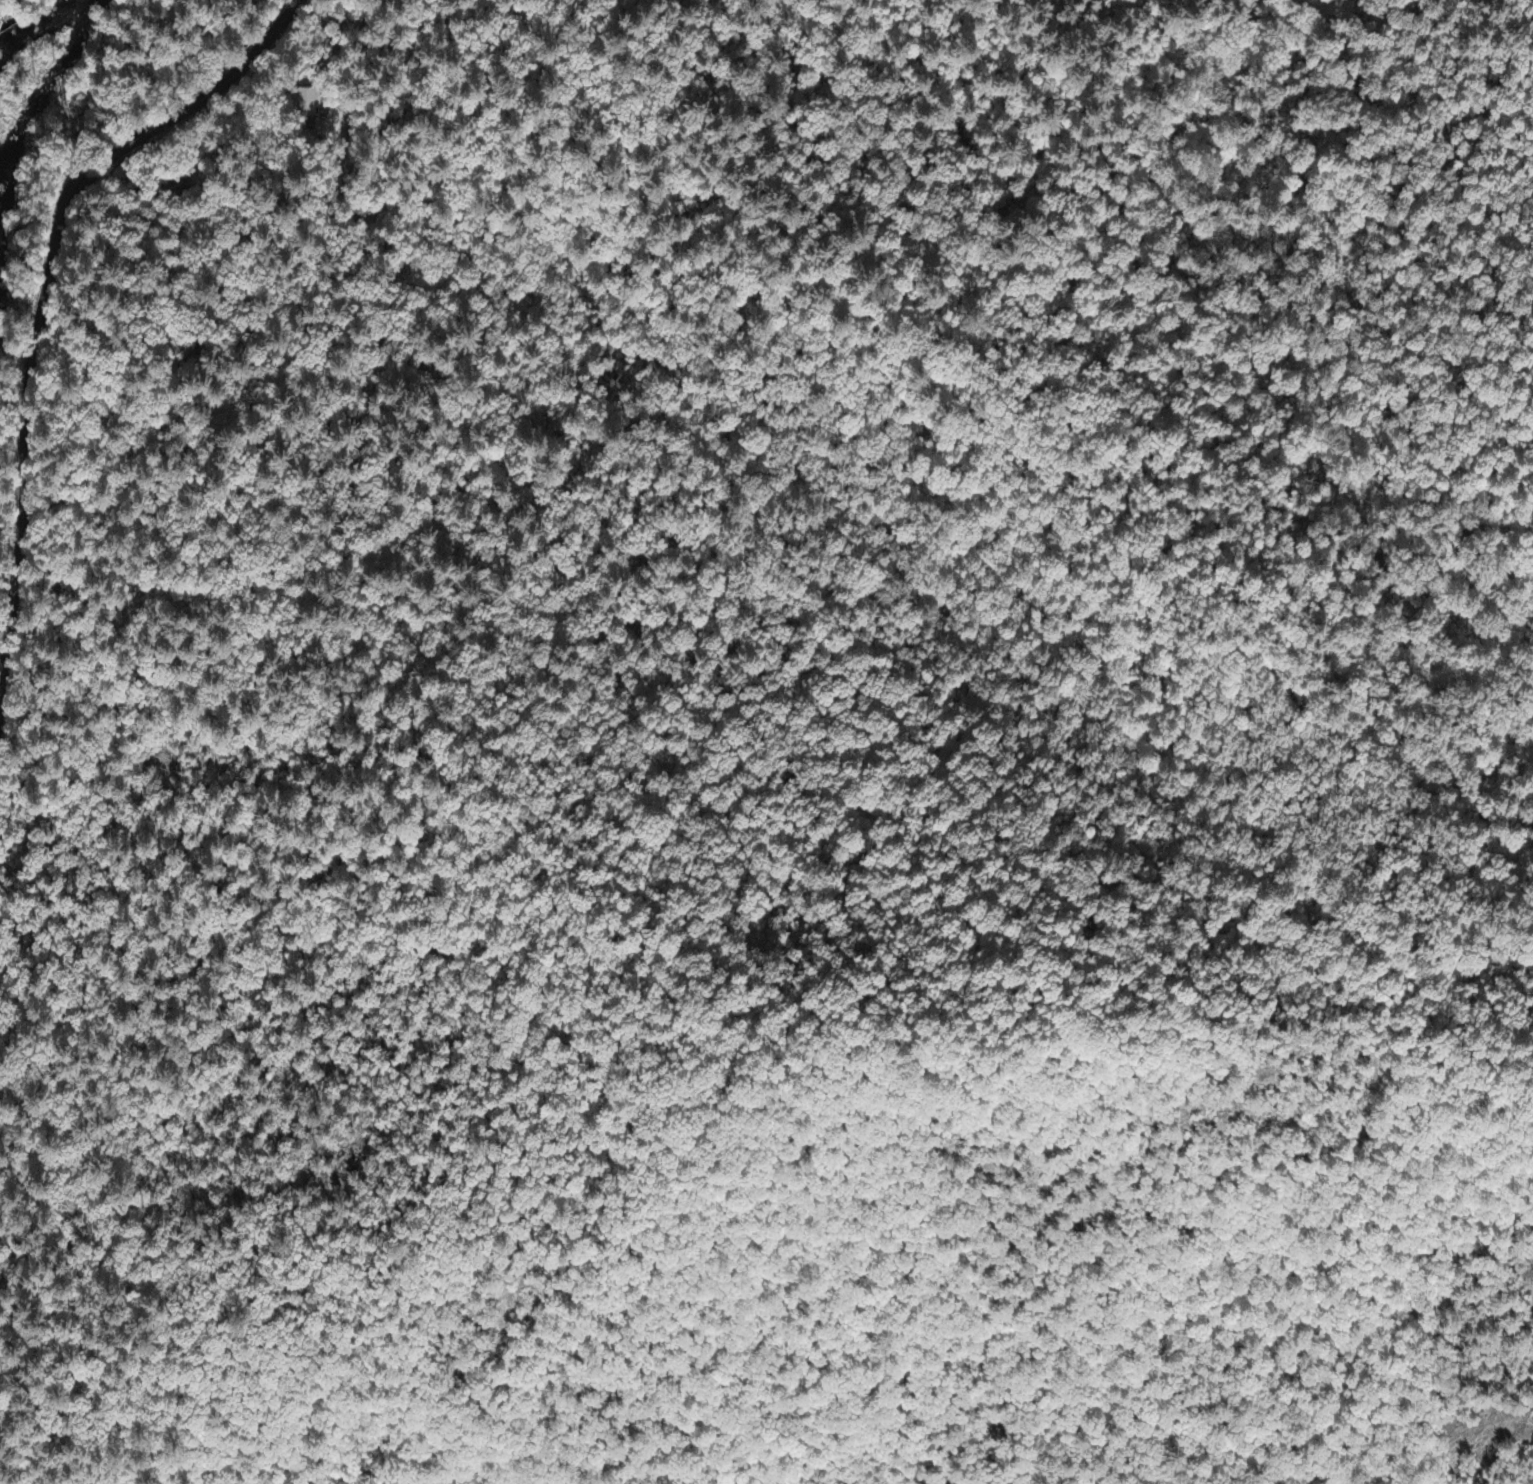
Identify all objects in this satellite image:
river: (42, 31)
road: (52, 264)

